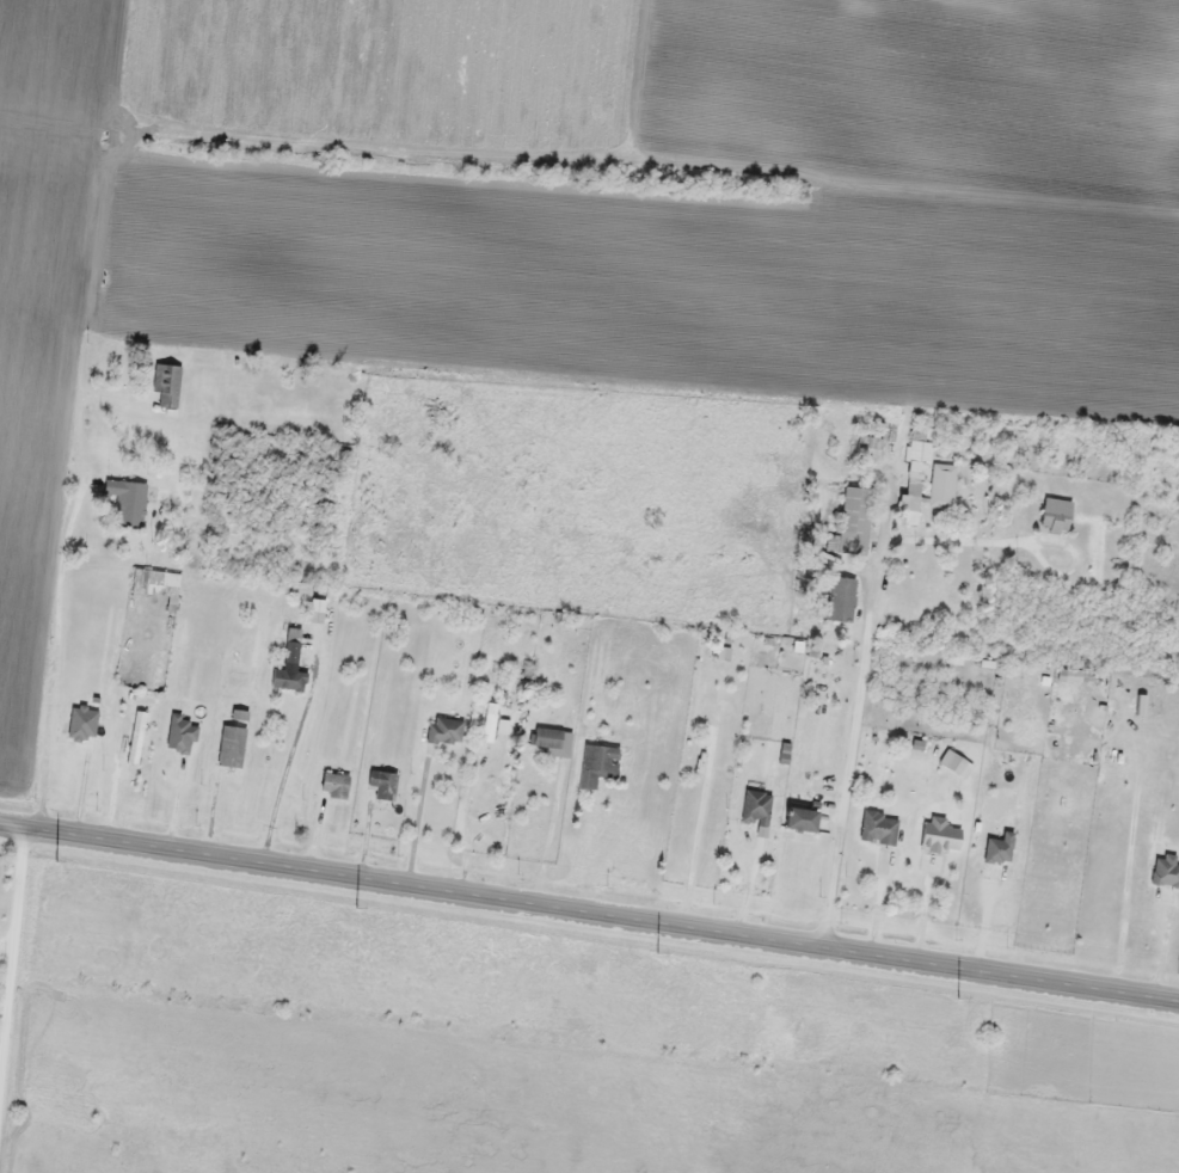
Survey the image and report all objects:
building: (167, 382)
building: (916, 447)
building: (942, 485)
building: (128, 499)
building: (1055, 514)
building: (854, 520)
building: (840, 598)
road: (61, 613)
building: (290, 663)
building: (490, 720)
building: (446, 729)
building: (182, 733)
building: (136, 736)
building: (547, 736)
building: (598, 763)
road: (843, 790)
building: (756, 806)
building: (799, 818)
building: (878, 828)
building: (938, 841)
building: (1165, 872)
road: (589, 911)
road: (12, 945)

